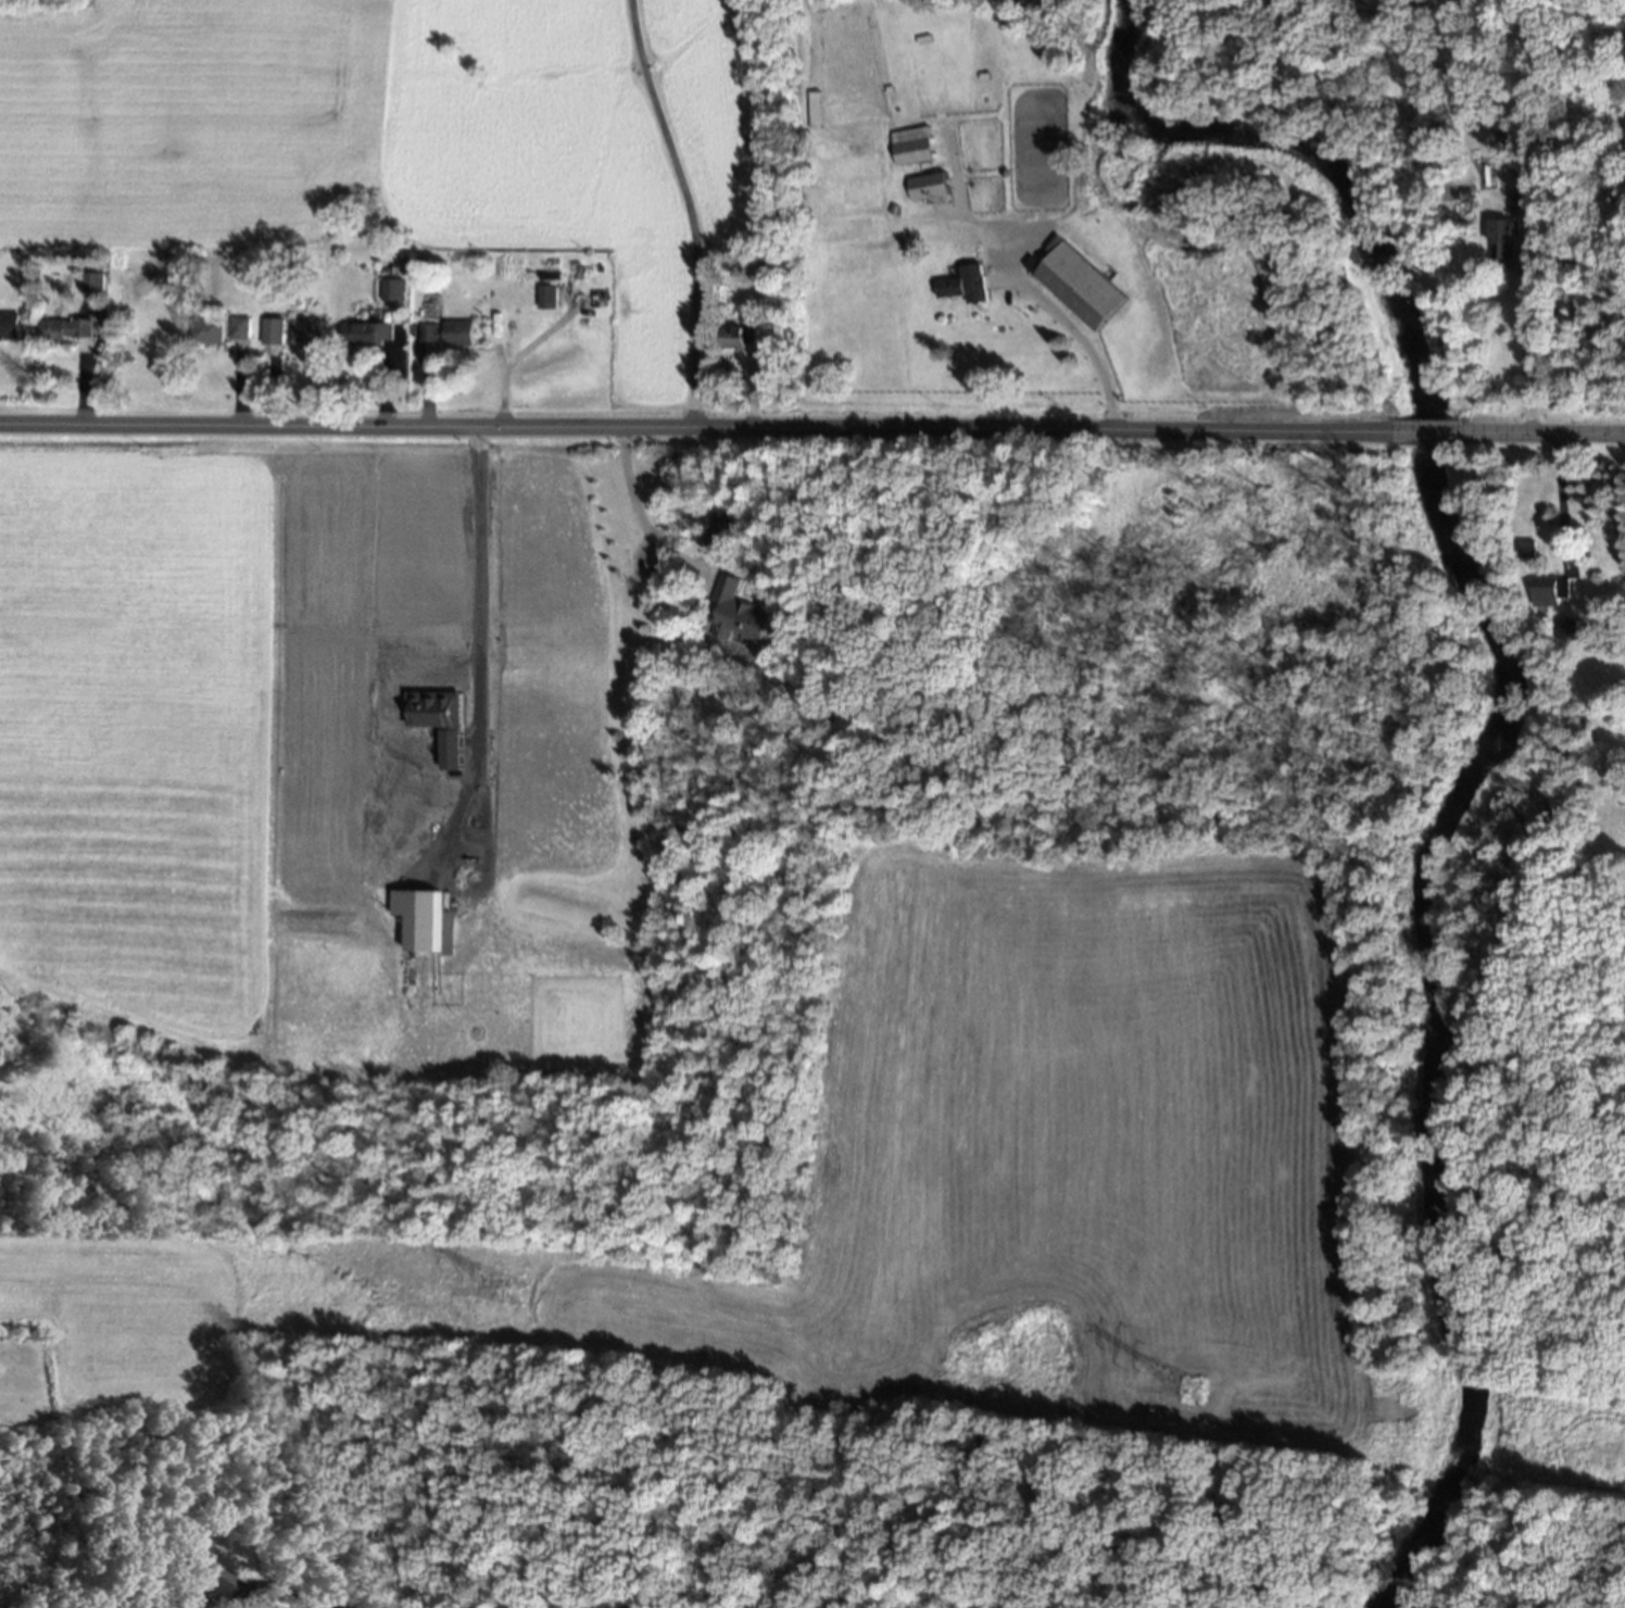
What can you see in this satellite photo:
building: (912, 146)
building: (928, 186)
building: (1522, 201)
road: (690, 211)
building: (1502, 239)
building: (95, 282)
building: (966, 285)
building: (1080, 286)
building: (392, 289)
building: (547, 298)
road: (1059, 321)
building: (10, 326)
building: (240, 328)
building: (66, 329)
building: (211, 331)
building: (273, 331)
building: (307, 331)
building: (449, 332)
building: (367, 334)
building: (741, 337)
road: (1532, 352)
road: (525, 353)
road: (811, 429)
road: (1560, 504)
road: (639, 511)
building: (723, 530)
road: (479, 544)
building: (1526, 549)
building: (1551, 591)
building: (740, 614)
building: (1567, 629)
crop: (307, 753)
building: (421, 918)
power tower: (503, 1289)
power tower: (1194, 1389)
building: (204, 1574)
road: (330, 1606)

